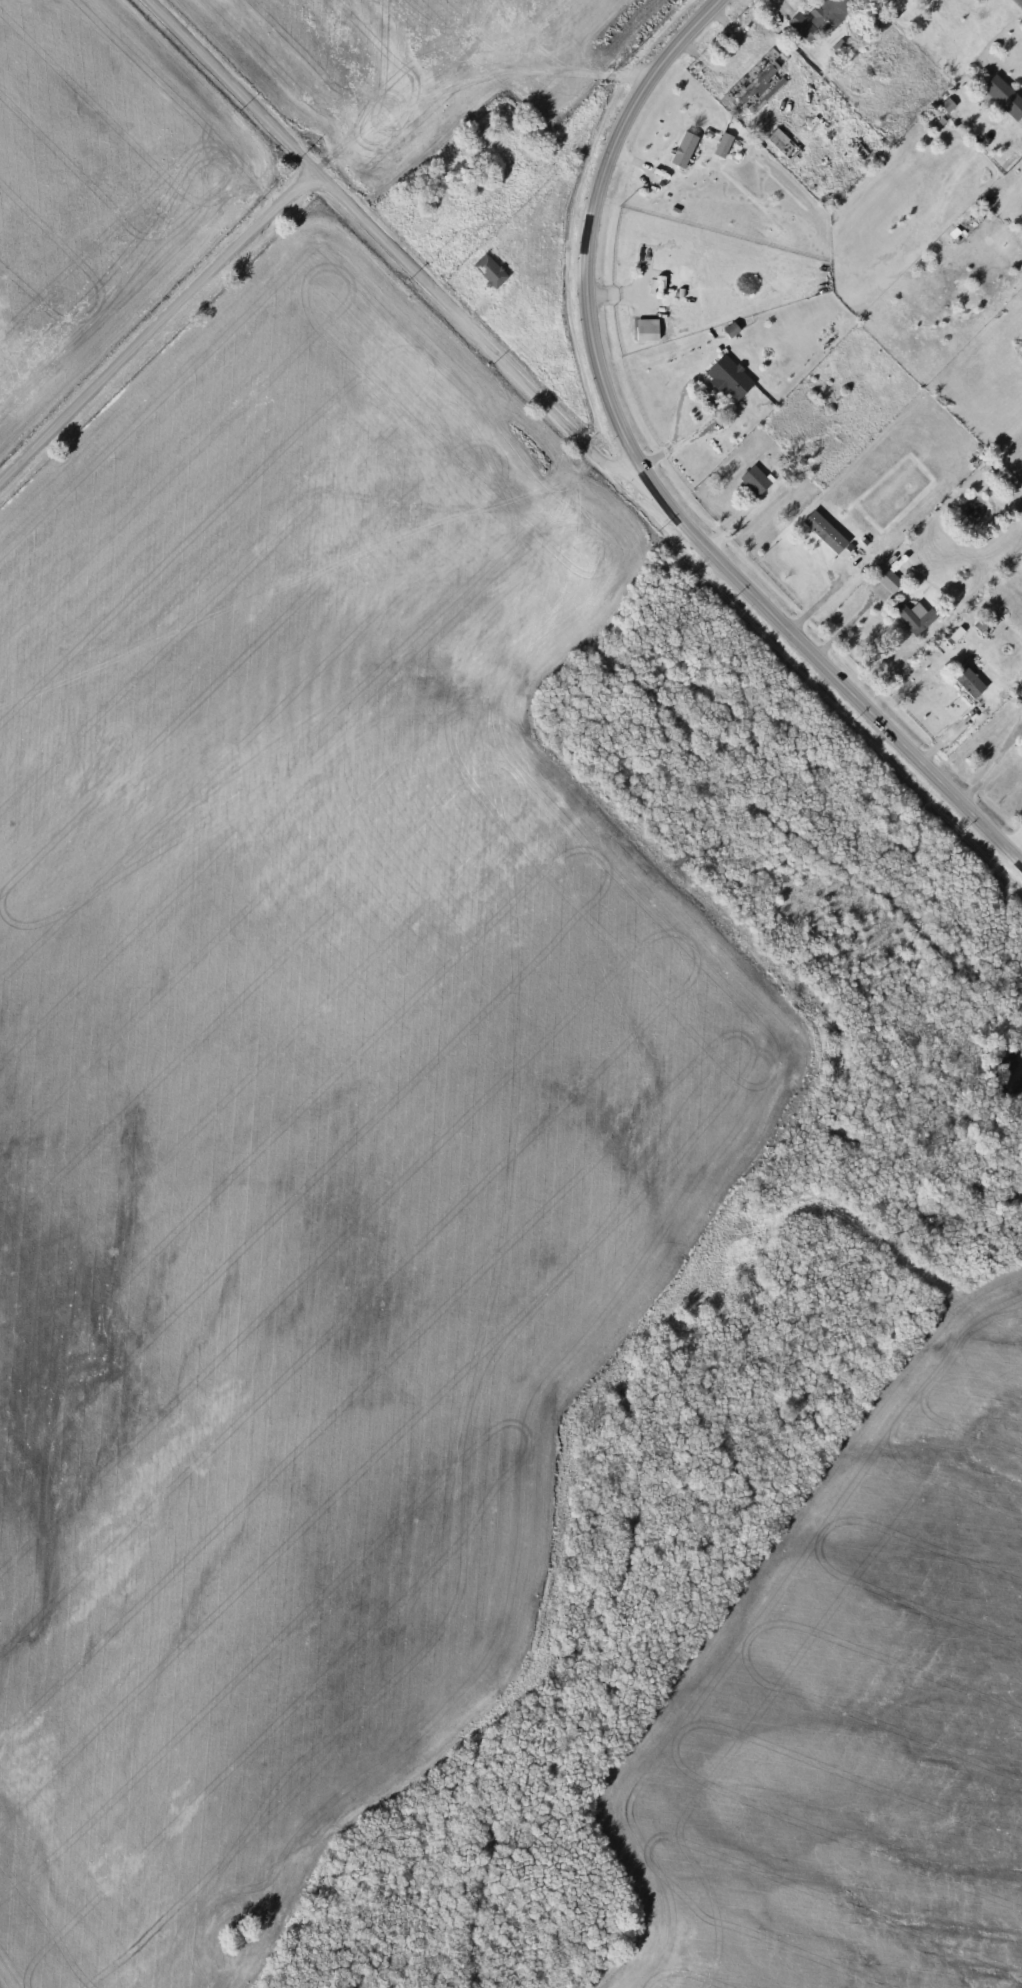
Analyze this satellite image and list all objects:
building: (940, 0)
road: (786, 7)
building: (825, 20)
road: (703, 55)
building: (761, 85)
building: (1007, 98)
building: (728, 146)
building: (688, 151)
road: (391, 242)
building: (494, 272)
building: (75, 280)
building: (659, 286)
road: (154, 316)
building: (733, 379)
road: (666, 441)
road: (653, 477)
building: (759, 481)
road: (730, 521)
building: (821, 547)
road: (827, 584)
building: (886, 585)
building: (917, 616)
road: (841, 627)
building: (965, 677)
road: (947, 729)
road: (980, 772)

